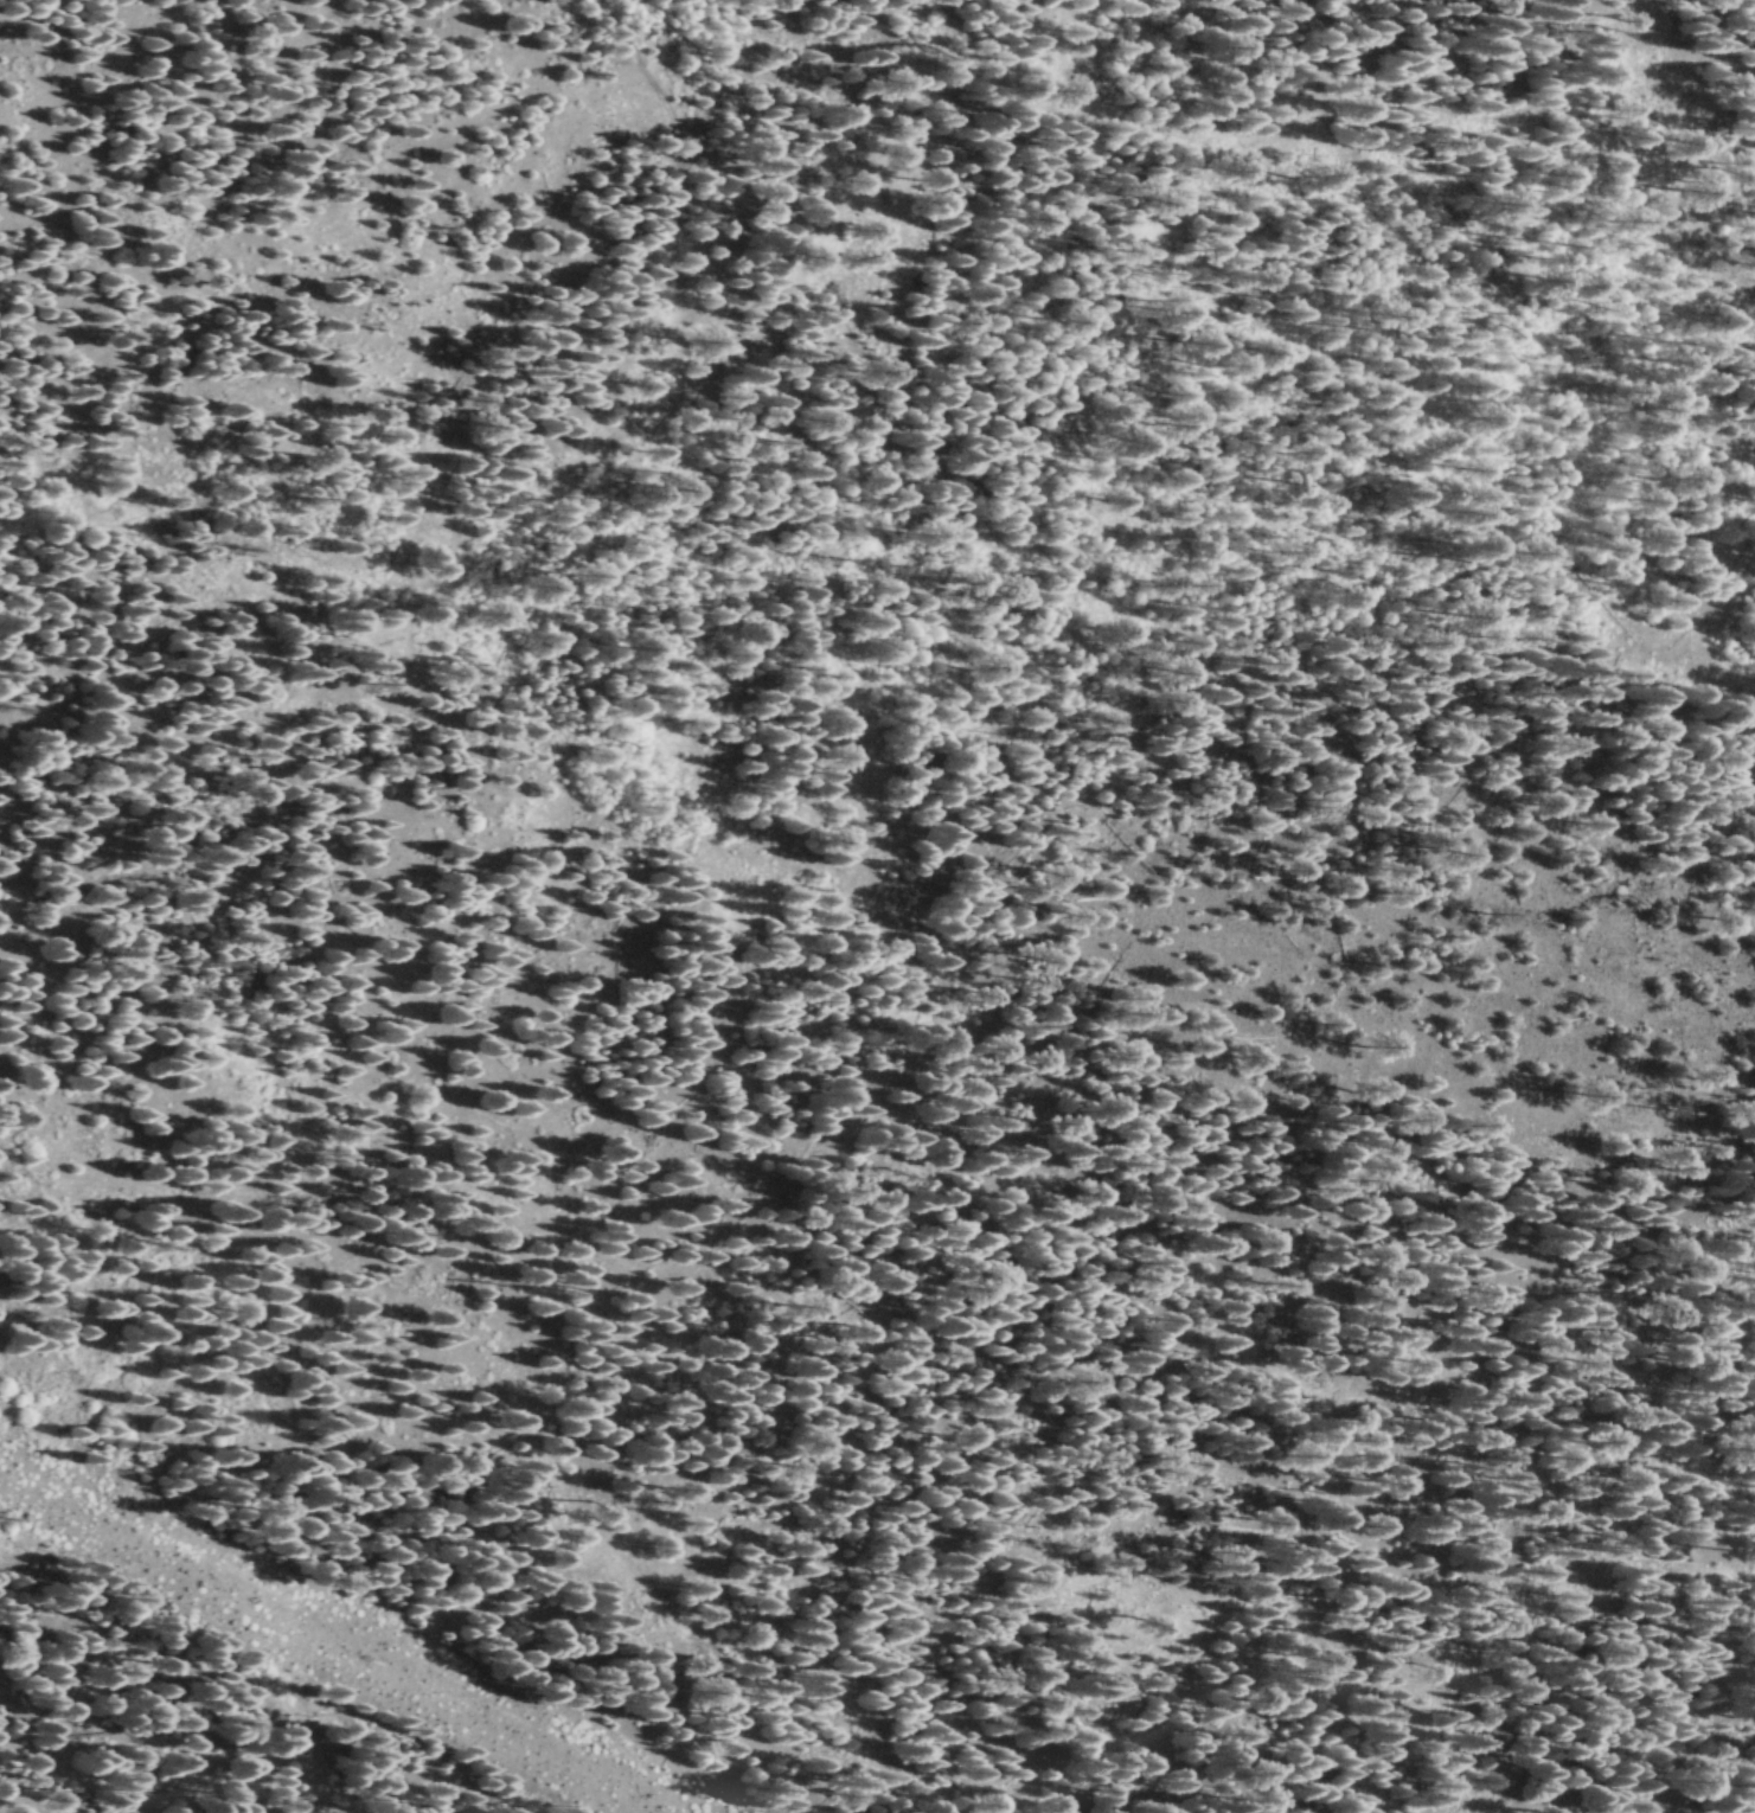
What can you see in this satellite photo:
road: (1194, 53)
road: (1001, 98)

